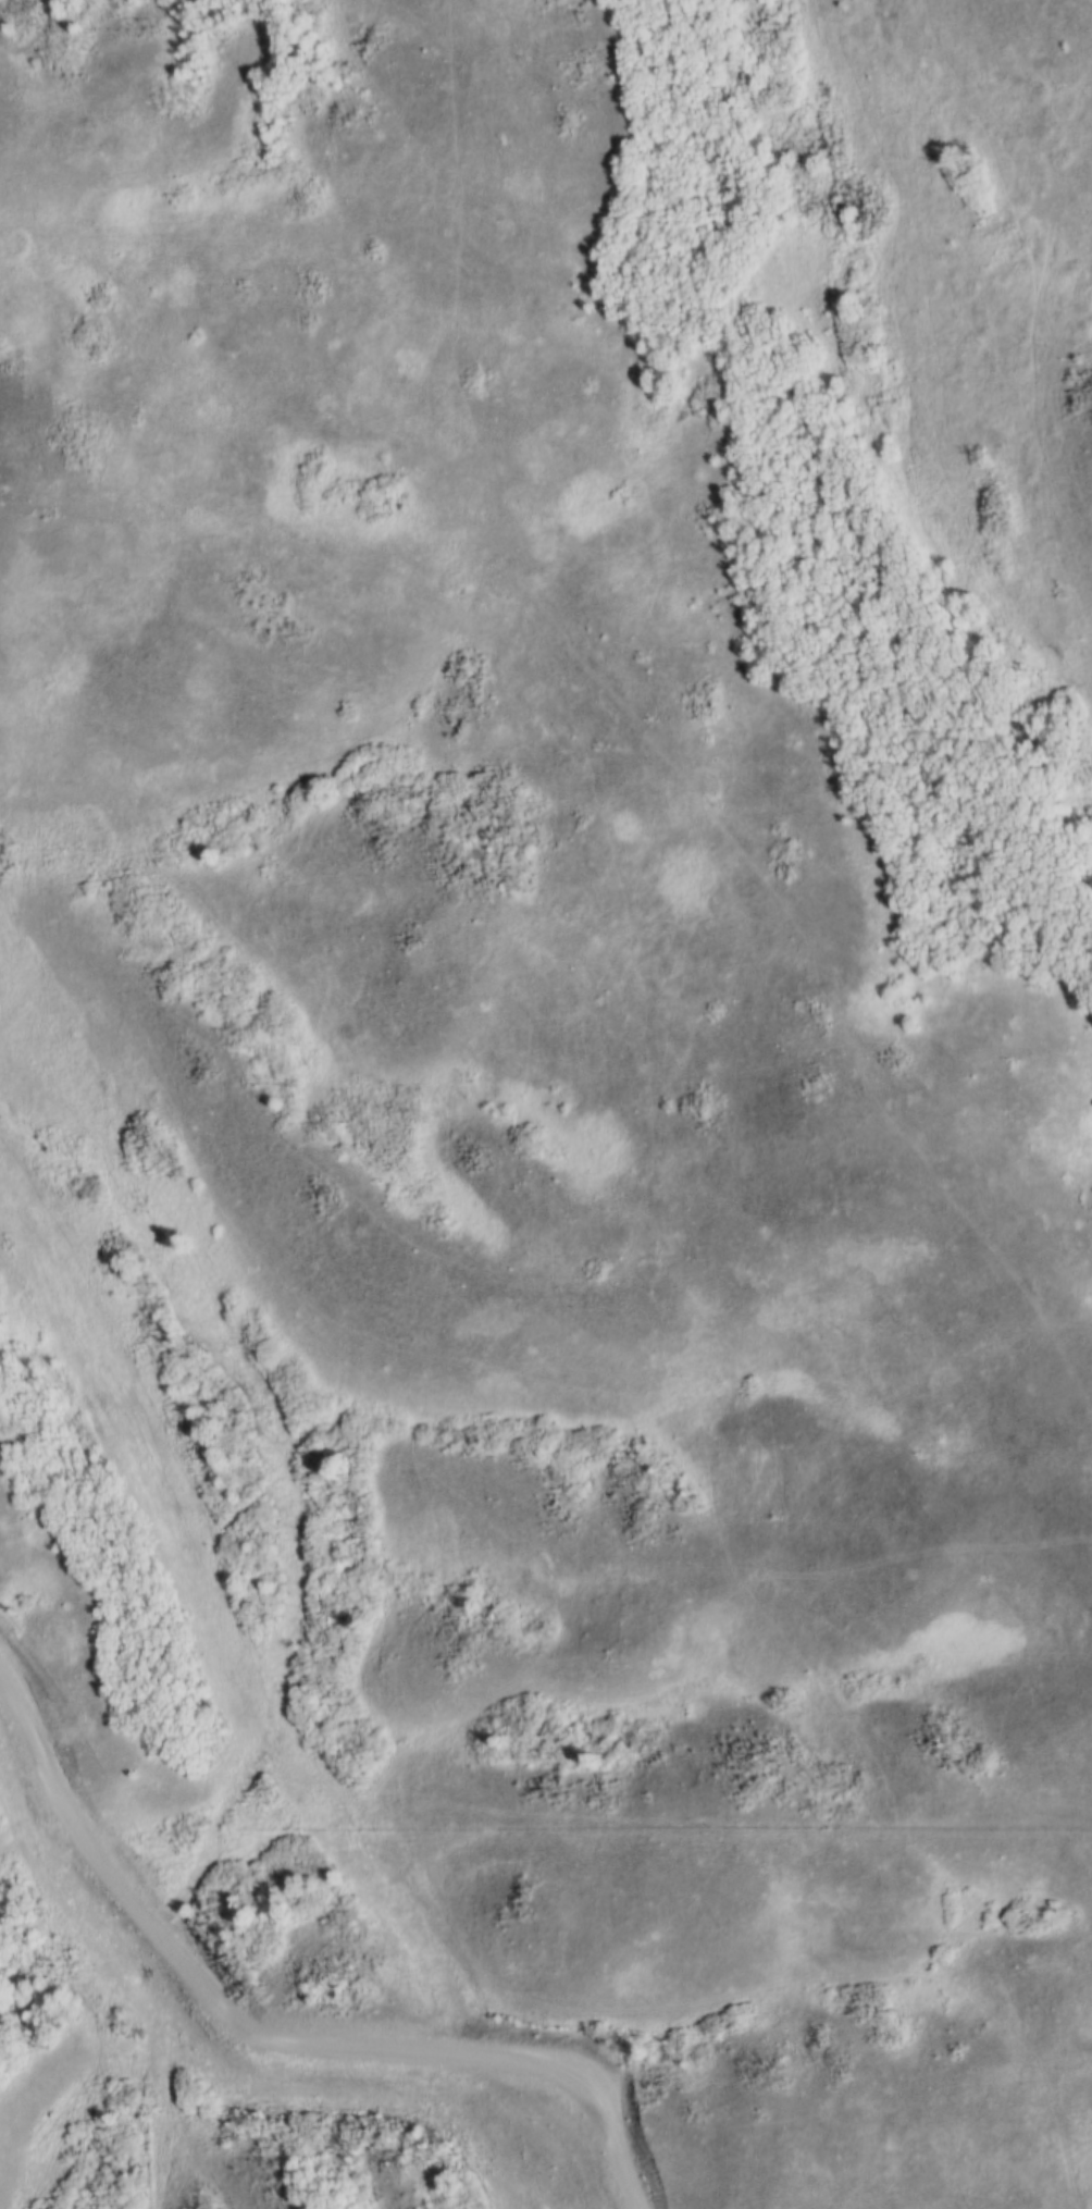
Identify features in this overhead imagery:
road: (287, 2051)

